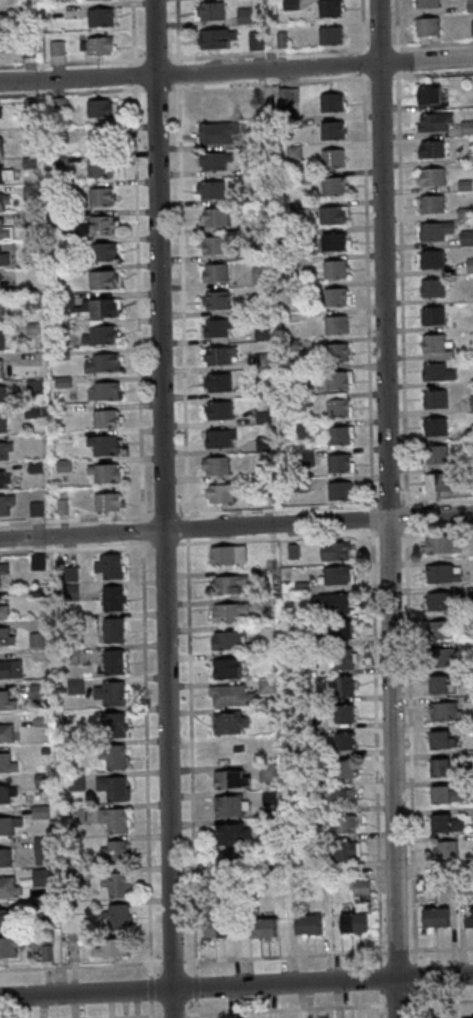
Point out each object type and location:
building: (424, 3)
building: (289, 5)
building: (468, 6)
building: (328, 7)
building: (207, 10)
building: (25, 12)
building: (242, 15)
building: (98, 16)
building: (0, 22)
building: (425, 26)
building: (471, 27)
building: (328, 34)
building: (214, 37)
building: (280, 39)
building: (254, 40)
building: (96, 45)
building: (55, 47)
road: (410, 47)
building: (27, 49)
road: (262, 54)
road: (96, 62)
road: (236, 70)
building: (286, 94)
building: (427, 94)
building: (330, 102)
building: (57, 105)
building: (213, 105)
building: (28, 106)
building: (97, 107)
building: (0, 110)
building: (433, 122)
building: (291, 123)
building: (465, 127)
building: (330, 129)
building: (214, 132)
building: (57, 135)
building: (257, 139)
building: (99, 140)
building: (0, 148)
building: (429, 148)
building: (292, 153)
building: (469, 156)
building: (330, 158)
building: (212, 159)
building: (58, 161)
building: (28, 163)
building: (251, 166)
building: (98, 167)
building: (5, 174)
building: (430, 176)
building: (331, 185)
building: (463, 185)
building: (59, 187)
building: (209, 189)
building: (29, 191)
building: (256, 194)
building: (99, 196)
building: (3, 200)
building: (429, 203)
building: (296, 207)
building: (463, 213)
building: (329, 215)
building: (213, 216)
building: (58, 217)
building: (29, 219)
building: (93, 224)
building: (256, 224)
building: (433, 230)
building: (3, 231)
building: (286, 236)
building: (465, 237)
building: (332, 240)
building: (58, 243)
building: (212, 244)
building: (102, 250)
building: (3, 259)
building: (430, 259)
building: (287, 262)
building: (468, 265)
building: (333, 268)
building: (59, 270)
building: (212, 272)
building: (257, 273)
building: (100, 278)
road: (400, 285)
building: (3, 287)
building: (430, 287)
building: (299, 288)
building: (334, 296)
building: (215, 300)
building: (31, 302)
building: (89, 305)
building: (260, 305)
road: (136, 307)
building: (1, 312)
building: (430, 315)
building: (334, 324)
building: (31, 327)
building: (61, 327)
building: (216, 327)
building: (98, 334)
building: (260, 335)
building: (1, 340)
building: (290, 344)
building: (433, 347)
building: (335, 351)
building: (60, 354)
building: (217, 355)
building: (260, 361)
building: (101, 362)
building: (0, 371)
building: (435, 372)
building: (335, 379)
building: (61, 381)
building: (216, 382)
building: (33, 386)
building: (102, 391)
building: (5, 397)
building: (433, 398)
building: (470, 403)
building: (335, 407)
building: (217, 409)
building: (30, 412)
building: (103, 417)
building: (261, 418)
building: (2, 423)
building: (434, 426)
building: (302, 430)
building: (336, 434)
building: (468, 434)
building: (63, 437)
building: (217, 437)
building: (262, 444)
building: (102, 445)
building: (4, 449)
building: (434, 453)
building: (306, 458)
building: (469, 461)
building: (337, 462)
building: (214, 464)
building: (62, 465)
building: (34, 467)
building: (261, 471)
building: (104, 472)
building: (3, 478)
building: (435, 482)
building: (296, 484)
building: (337, 490)
building: (219, 493)
building: (105, 501)
building: (5, 503)
building: (60, 506)
building: (34, 508)
road: (163, 508)
road: (387, 508)
road: (183, 514)
road: (236, 527)
building: (440, 544)
building: (333, 550)
building: (291, 551)
building: (226, 554)
building: (35, 561)
building: (108, 565)
building: (3, 567)
building: (441, 573)
building: (67, 574)
building: (336, 575)
building: (225, 583)
building: (300, 586)
building: (36, 591)
building: (69, 592)
building: (110, 598)
building: (438, 600)
building: (331, 602)
building: (3, 610)
building: (226, 612)
building: (111, 629)
building: (341, 629)
building: (438, 629)
building: (5, 637)
building: (35, 640)
building: (224, 640)
building: (69, 656)
building: (438, 657)
building: (341, 658)
building: (112, 661)
building: (224, 667)
building: (9, 668)
building: (437, 684)
building: (265, 685)
building: (73, 686)
building: (342, 686)
building: (36, 691)
building: (108, 693)
building: (228, 695)
building: (6, 701)
building: (444, 711)
building: (342, 712)
building: (38, 719)
building: (226, 722)
building: (111, 724)
building: (5, 732)
building: (437, 738)
building: (343, 740)
building: (43, 750)
building: (229, 751)
building: (113, 756)
building: (470, 758)
building: (6, 763)
building: (438, 767)
building: (343, 768)
building: (267, 772)
building: (40, 779)
building: (228, 779)
building: (74, 782)
building: (471, 785)
building: (111, 787)
building: (6, 793)
building: (443, 794)
building: (338, 797)
building: (268, 798)
building: (227, 806)
building: (38, 811)
building: (75, 814)
building: (112, 819)
building: (342, 823)
building: (444, 823)
building: (8, 824)
building: (229, 833)
building: (443, 849)
building: (41, 850)
building: (340, 850)
building: (114, 852)
building: (4, 857)
building: (297, 859)
building: (229, 860)
building: (266, 864)
building: (70, 876)
building: (40, 877)
building: (115, 884)
building: (418, 886)
building: (8, 887)
building: (41, 908)
building: (356, 908)
building: (116, 915)
building: (2, 917)
building: (434, 917)
building: (468, 917)
building: (307, 924)
building: (214, 927)
building: (260, 927)
building: (9, 945)
building: (109, 947)
building: (44, 953)
road: (236, 986)
building: (467, 1017)
building: (471, 1017)

